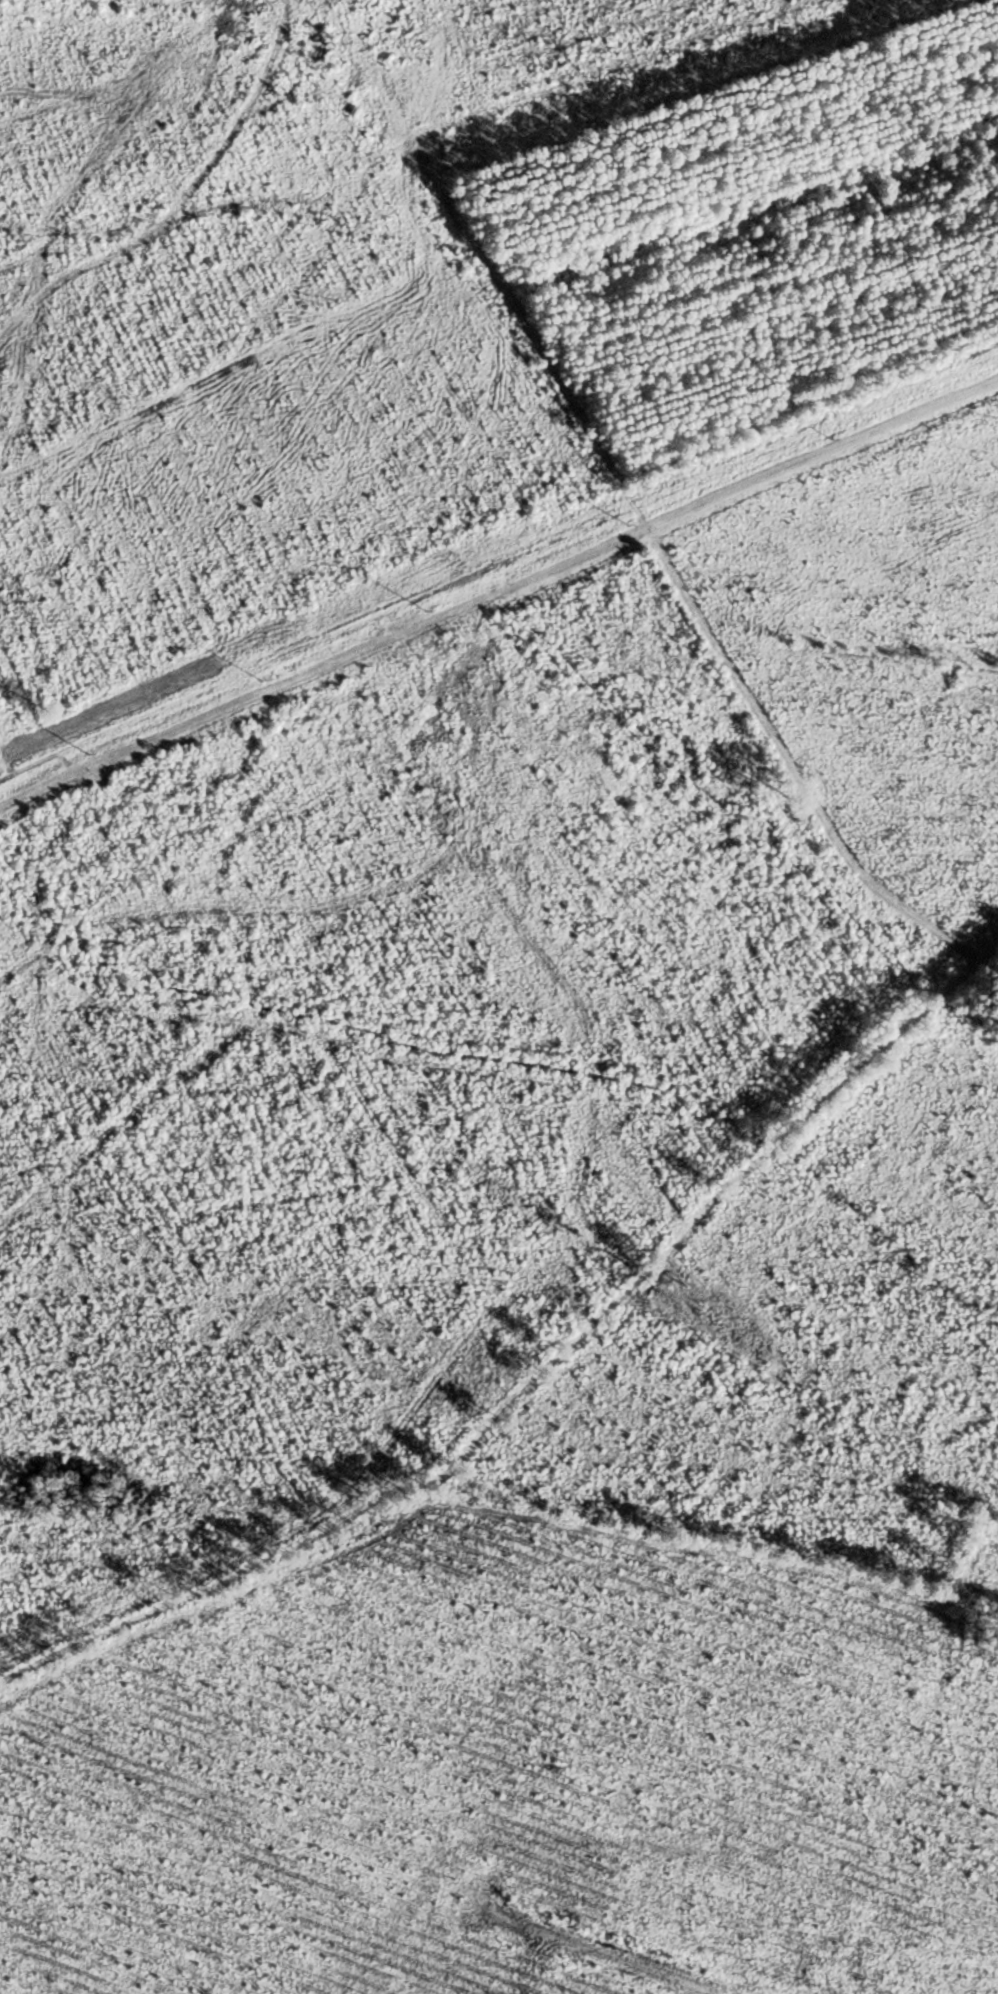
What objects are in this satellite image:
road: (18, 771)

